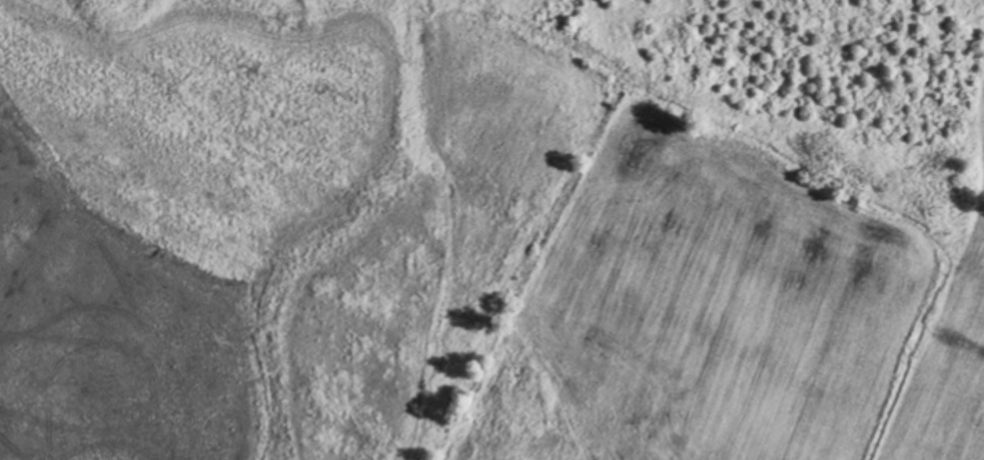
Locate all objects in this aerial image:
crop: (738, 244)

